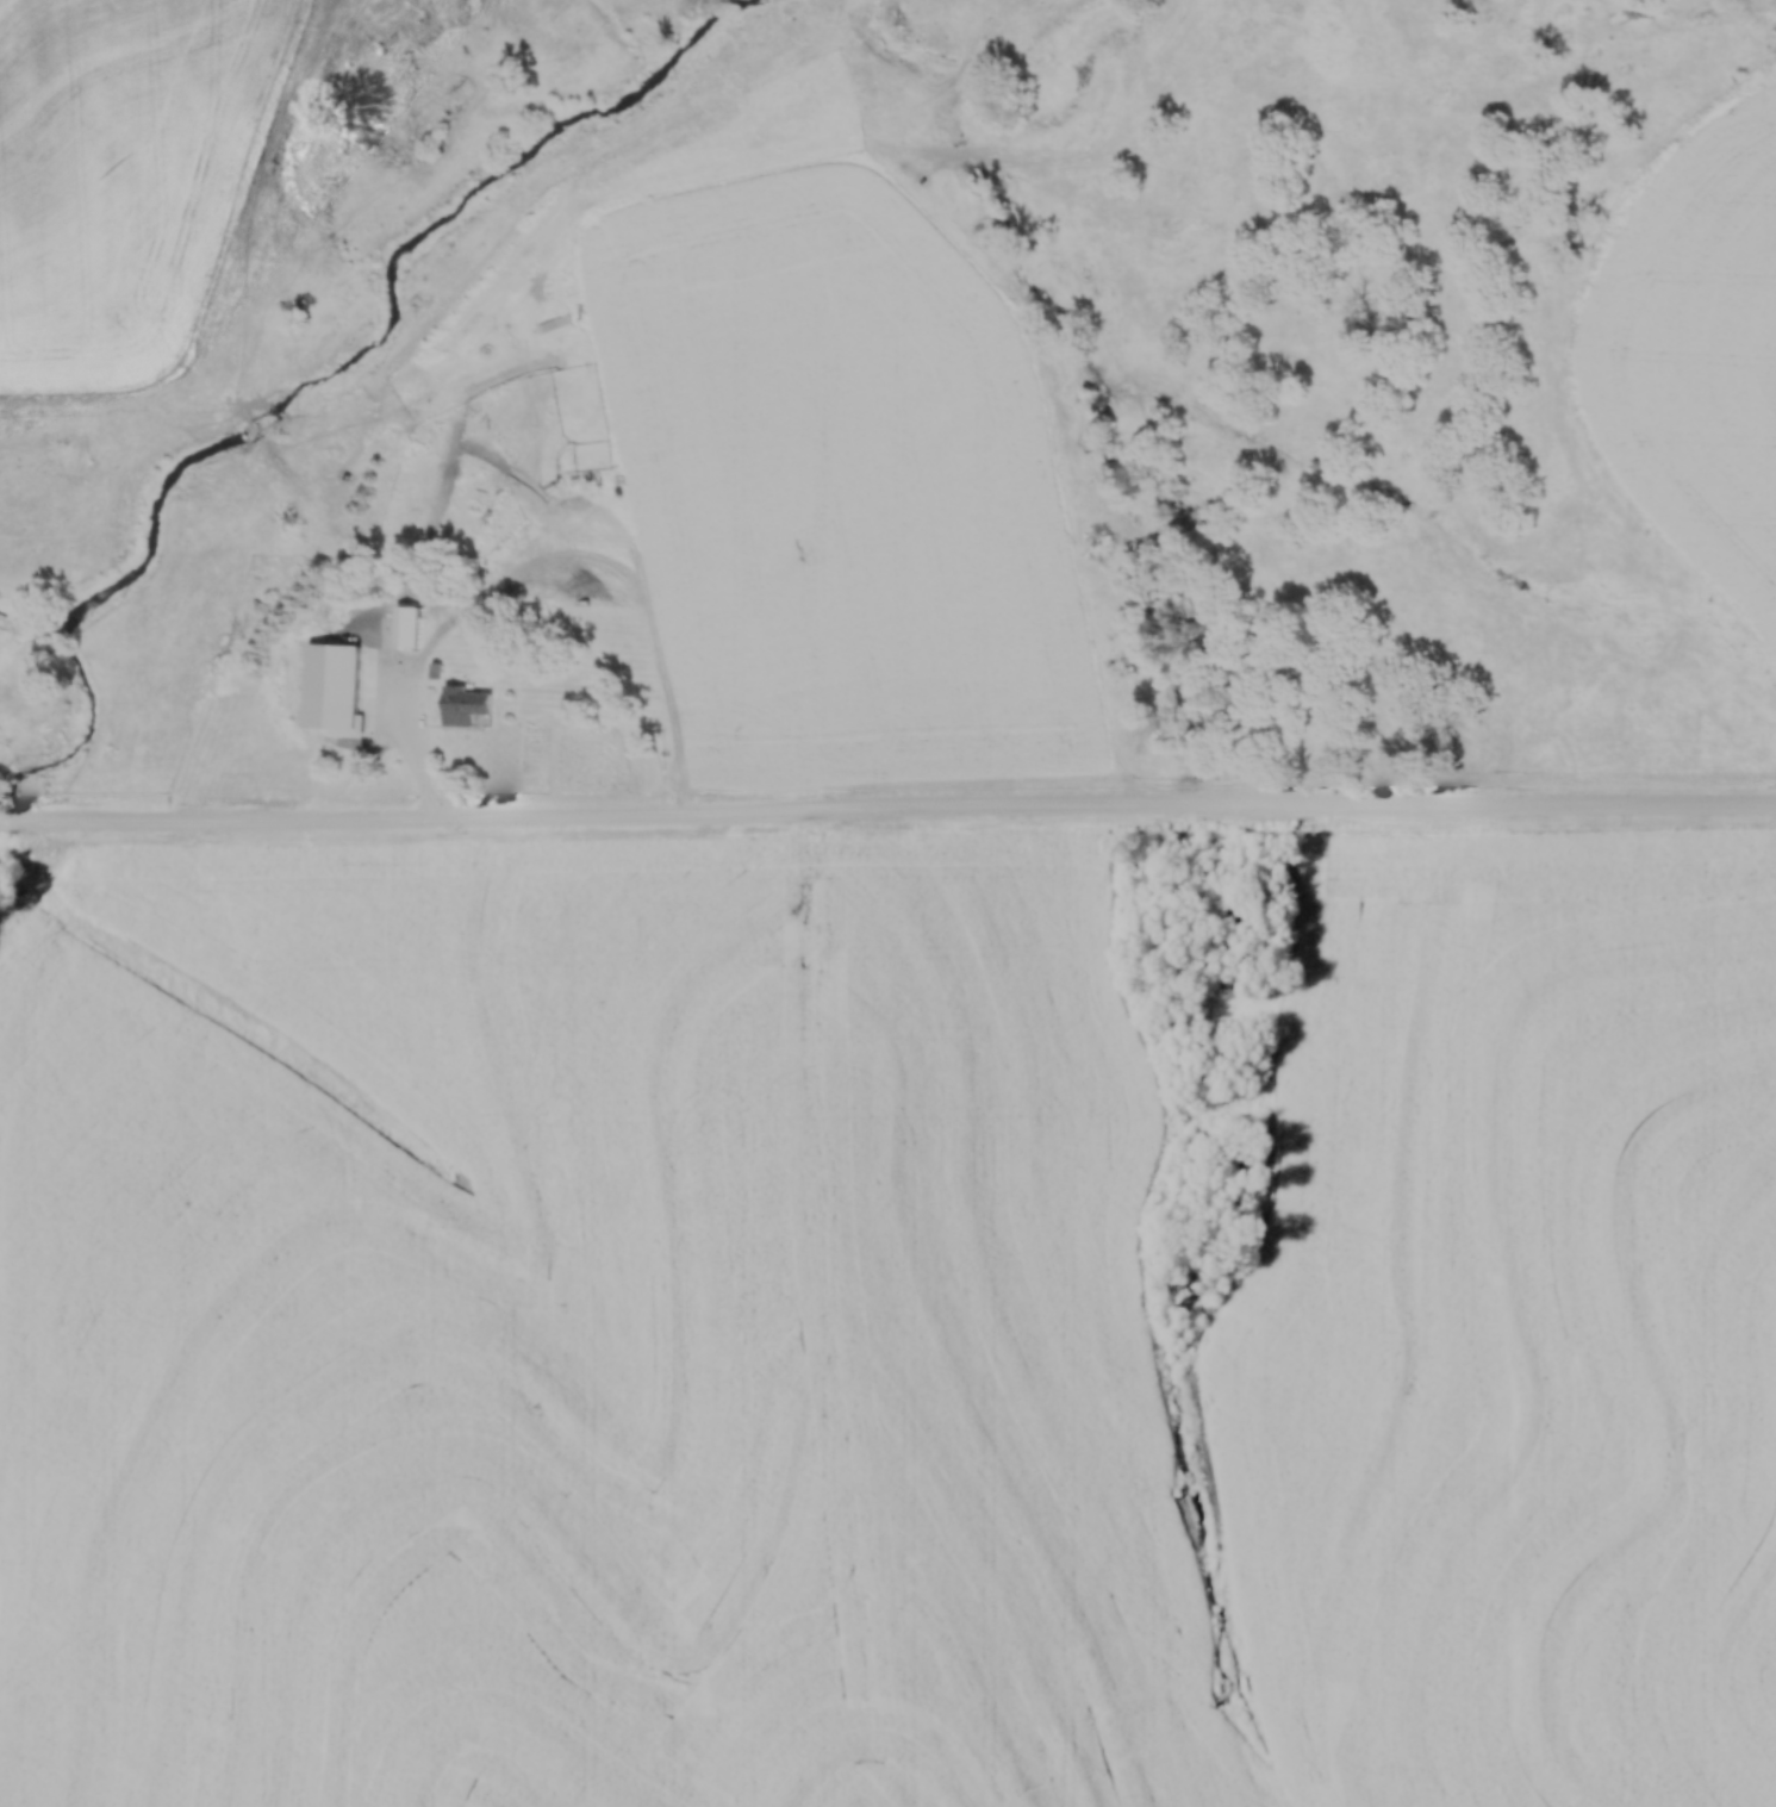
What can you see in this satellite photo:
building: (405, 625)
road: (785, 700)
building: (462, 705)
building: (331, 727)
road: (887, 810)

